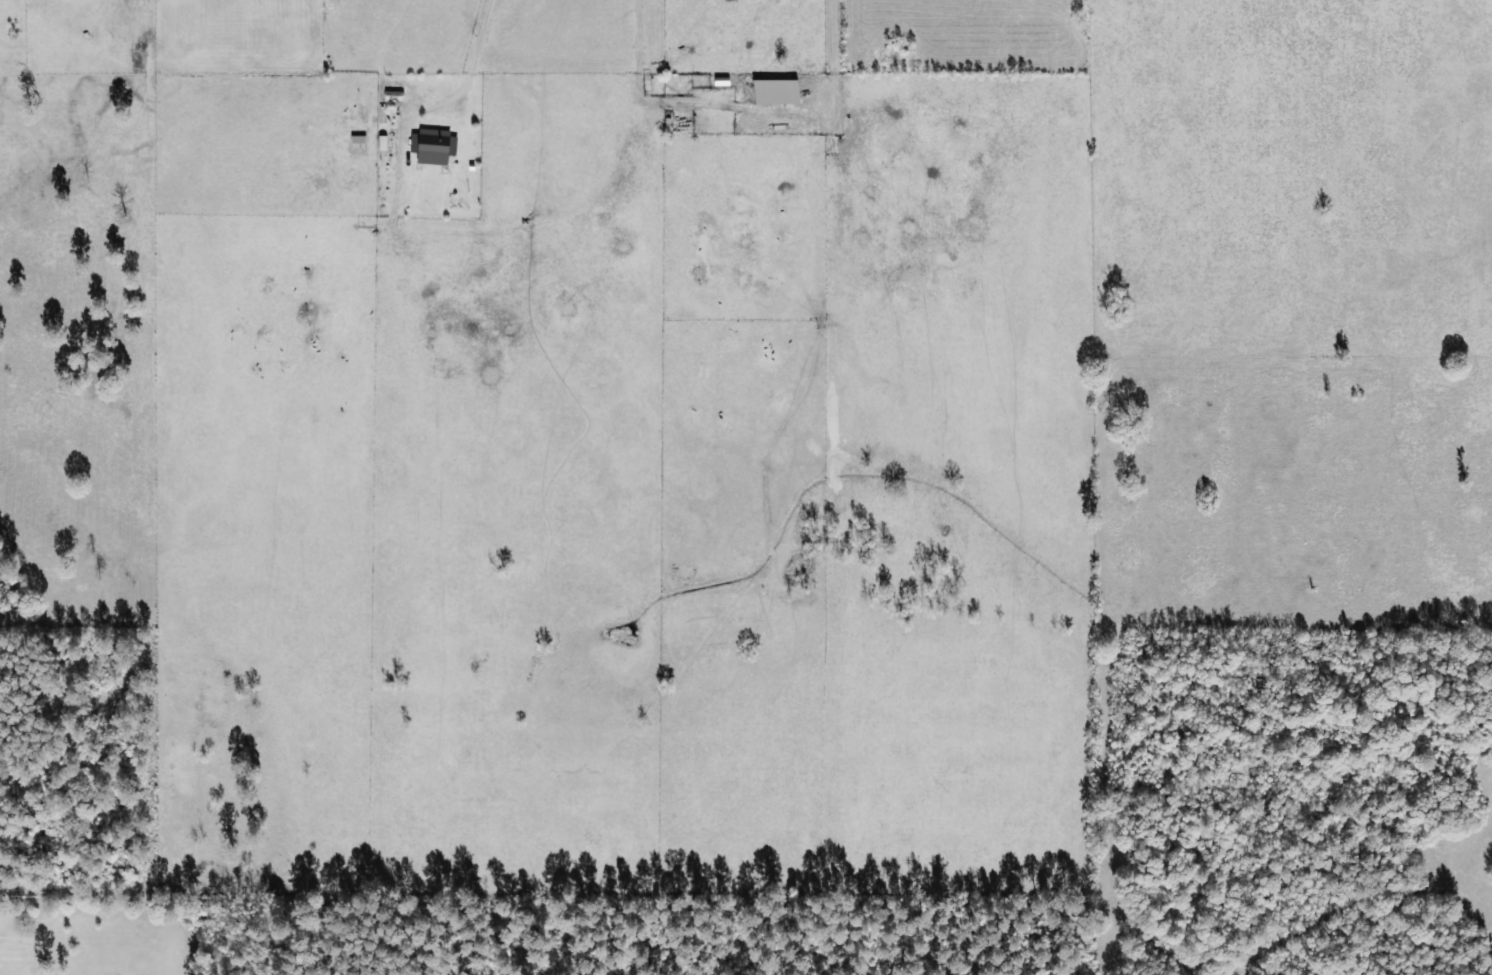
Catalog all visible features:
building: (775, 90)
building: (357, 138)
building: (381, 142)
building: (432, 145)

